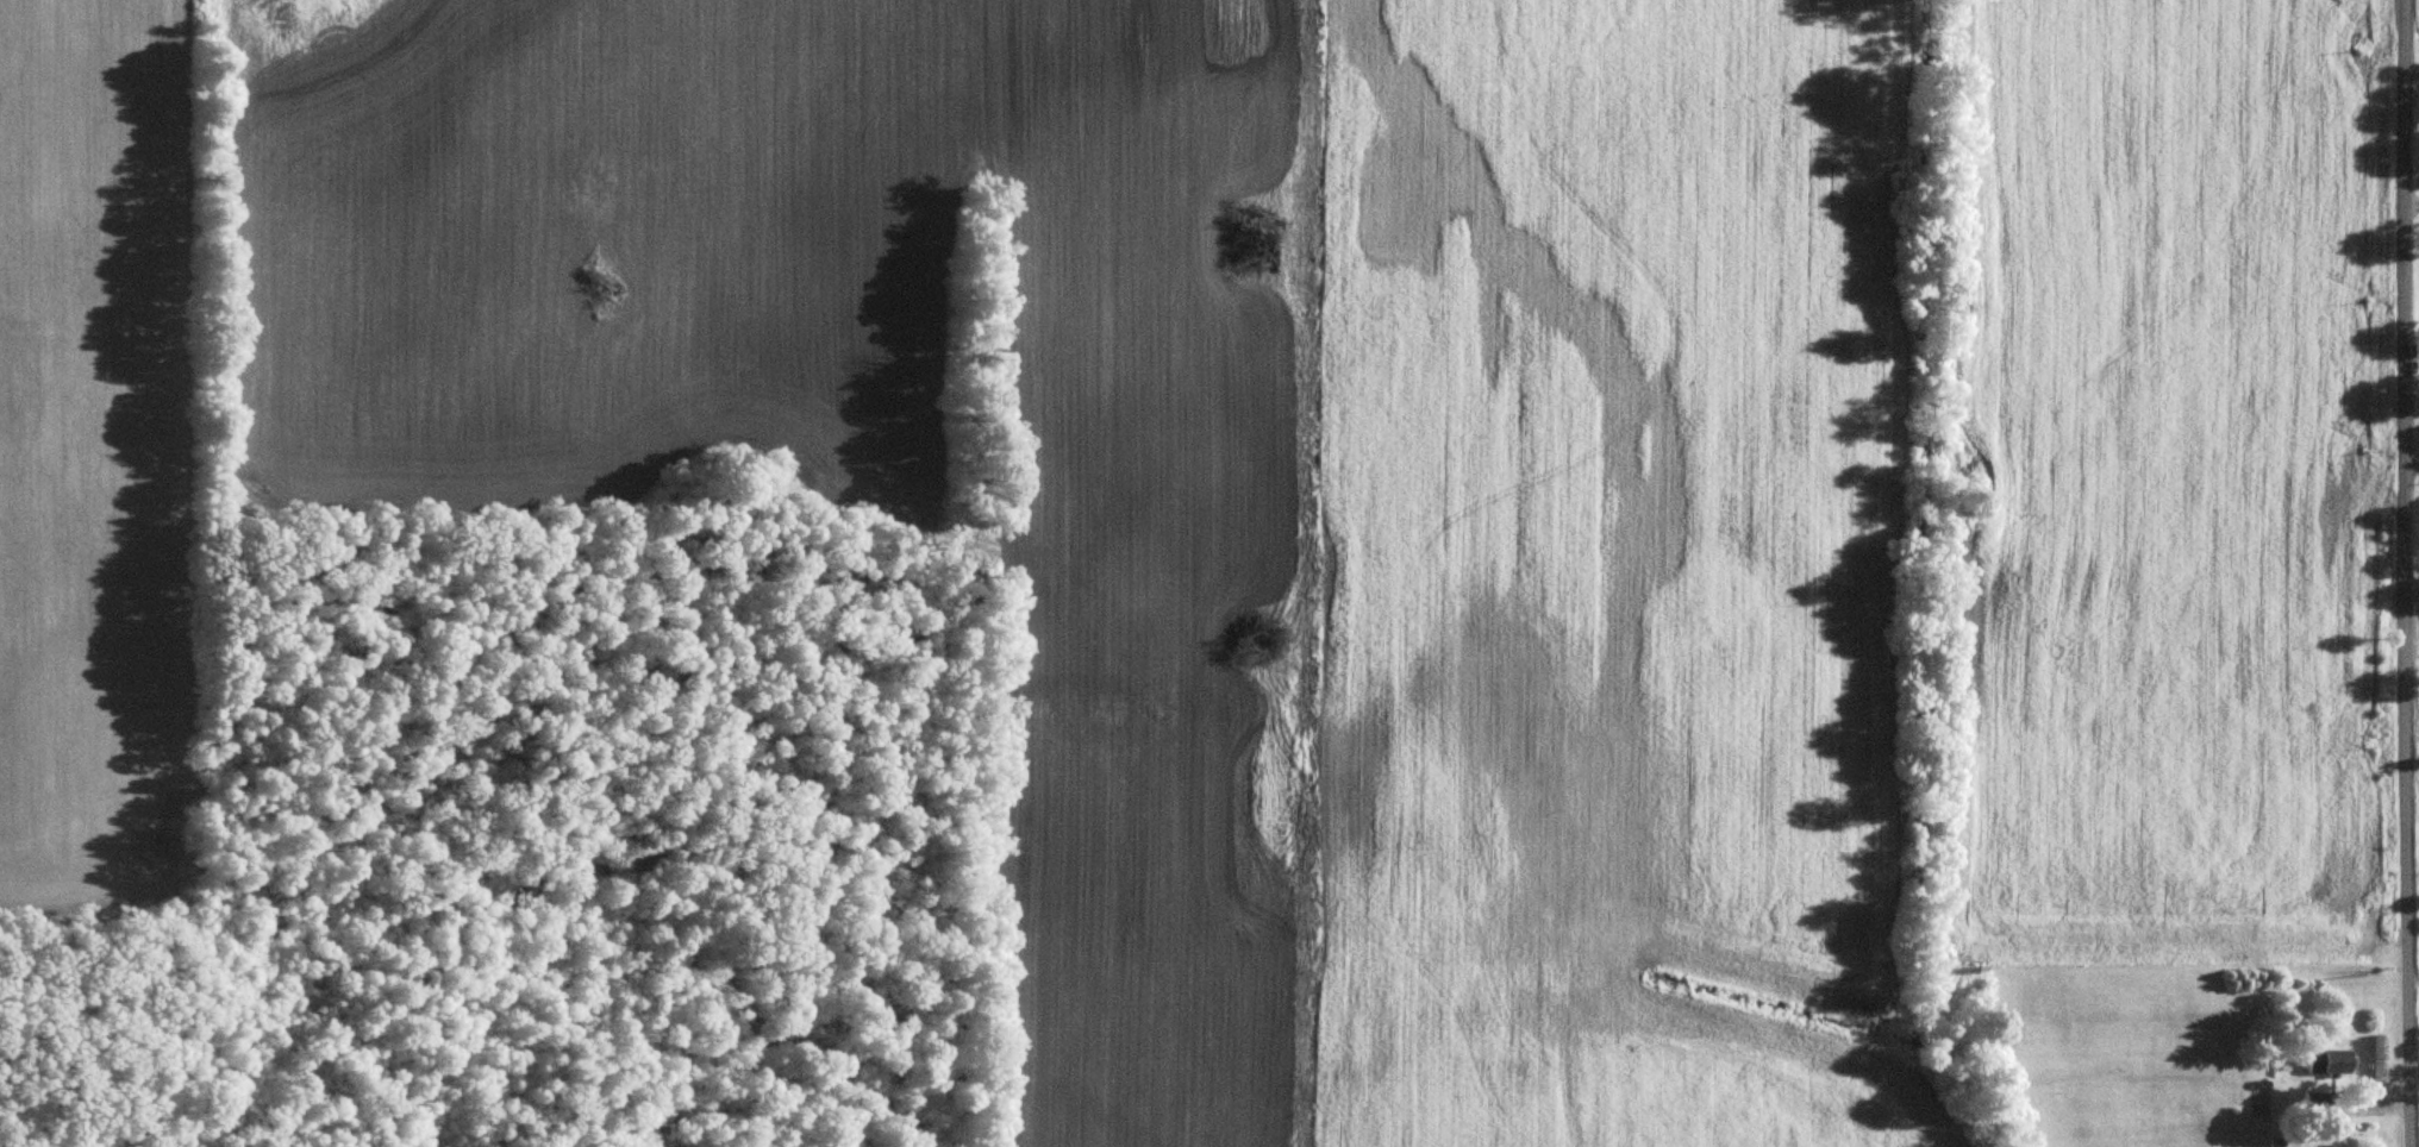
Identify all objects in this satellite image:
road: (2412, 77)
road: (2412, 202)
road: (2411, 455)
road: (2402, 573)
building: (2320, 1061)
building: (2305, 1103)

